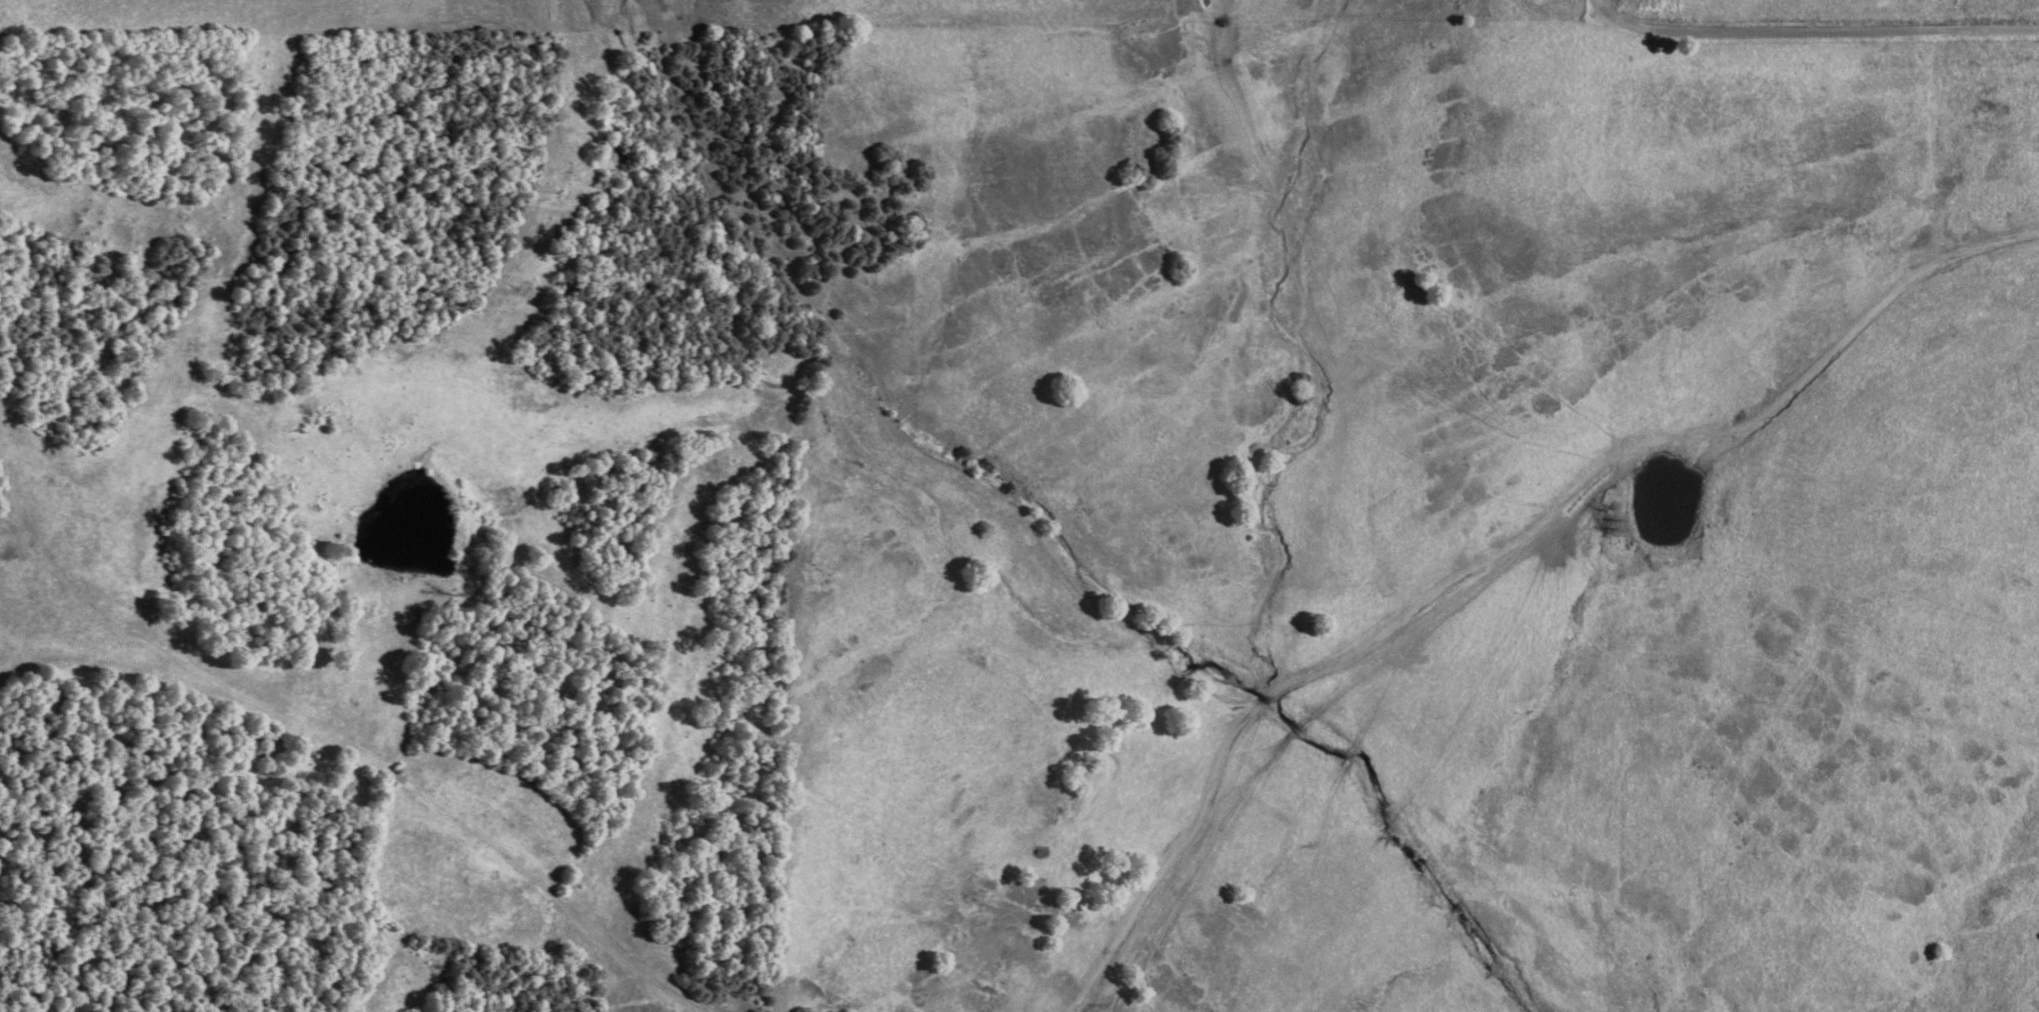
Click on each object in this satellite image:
road: (1813, 32)

